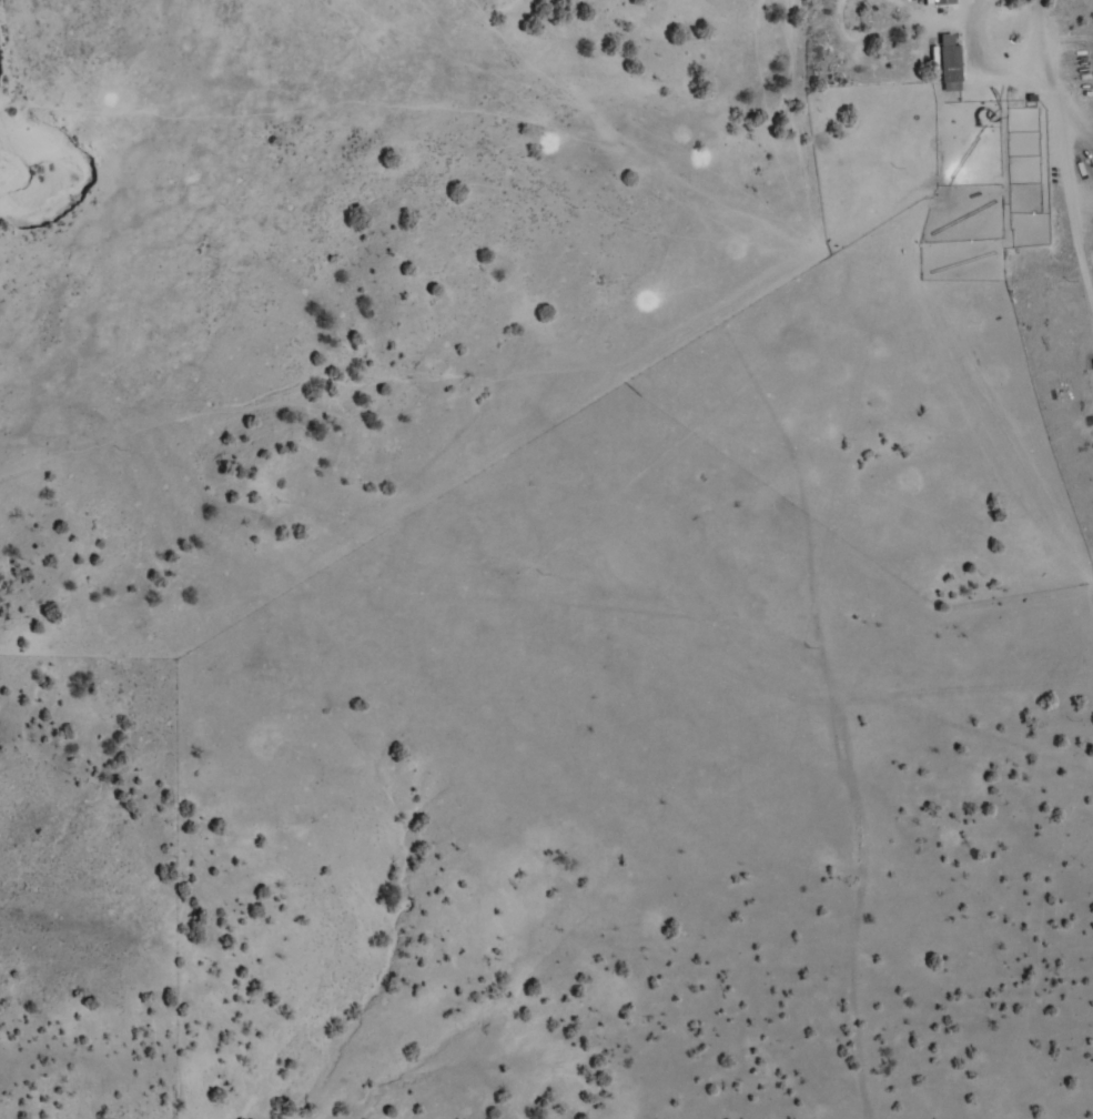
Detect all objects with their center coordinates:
building: (937, 1)
road: (8, 54)
building: (951, 64)

